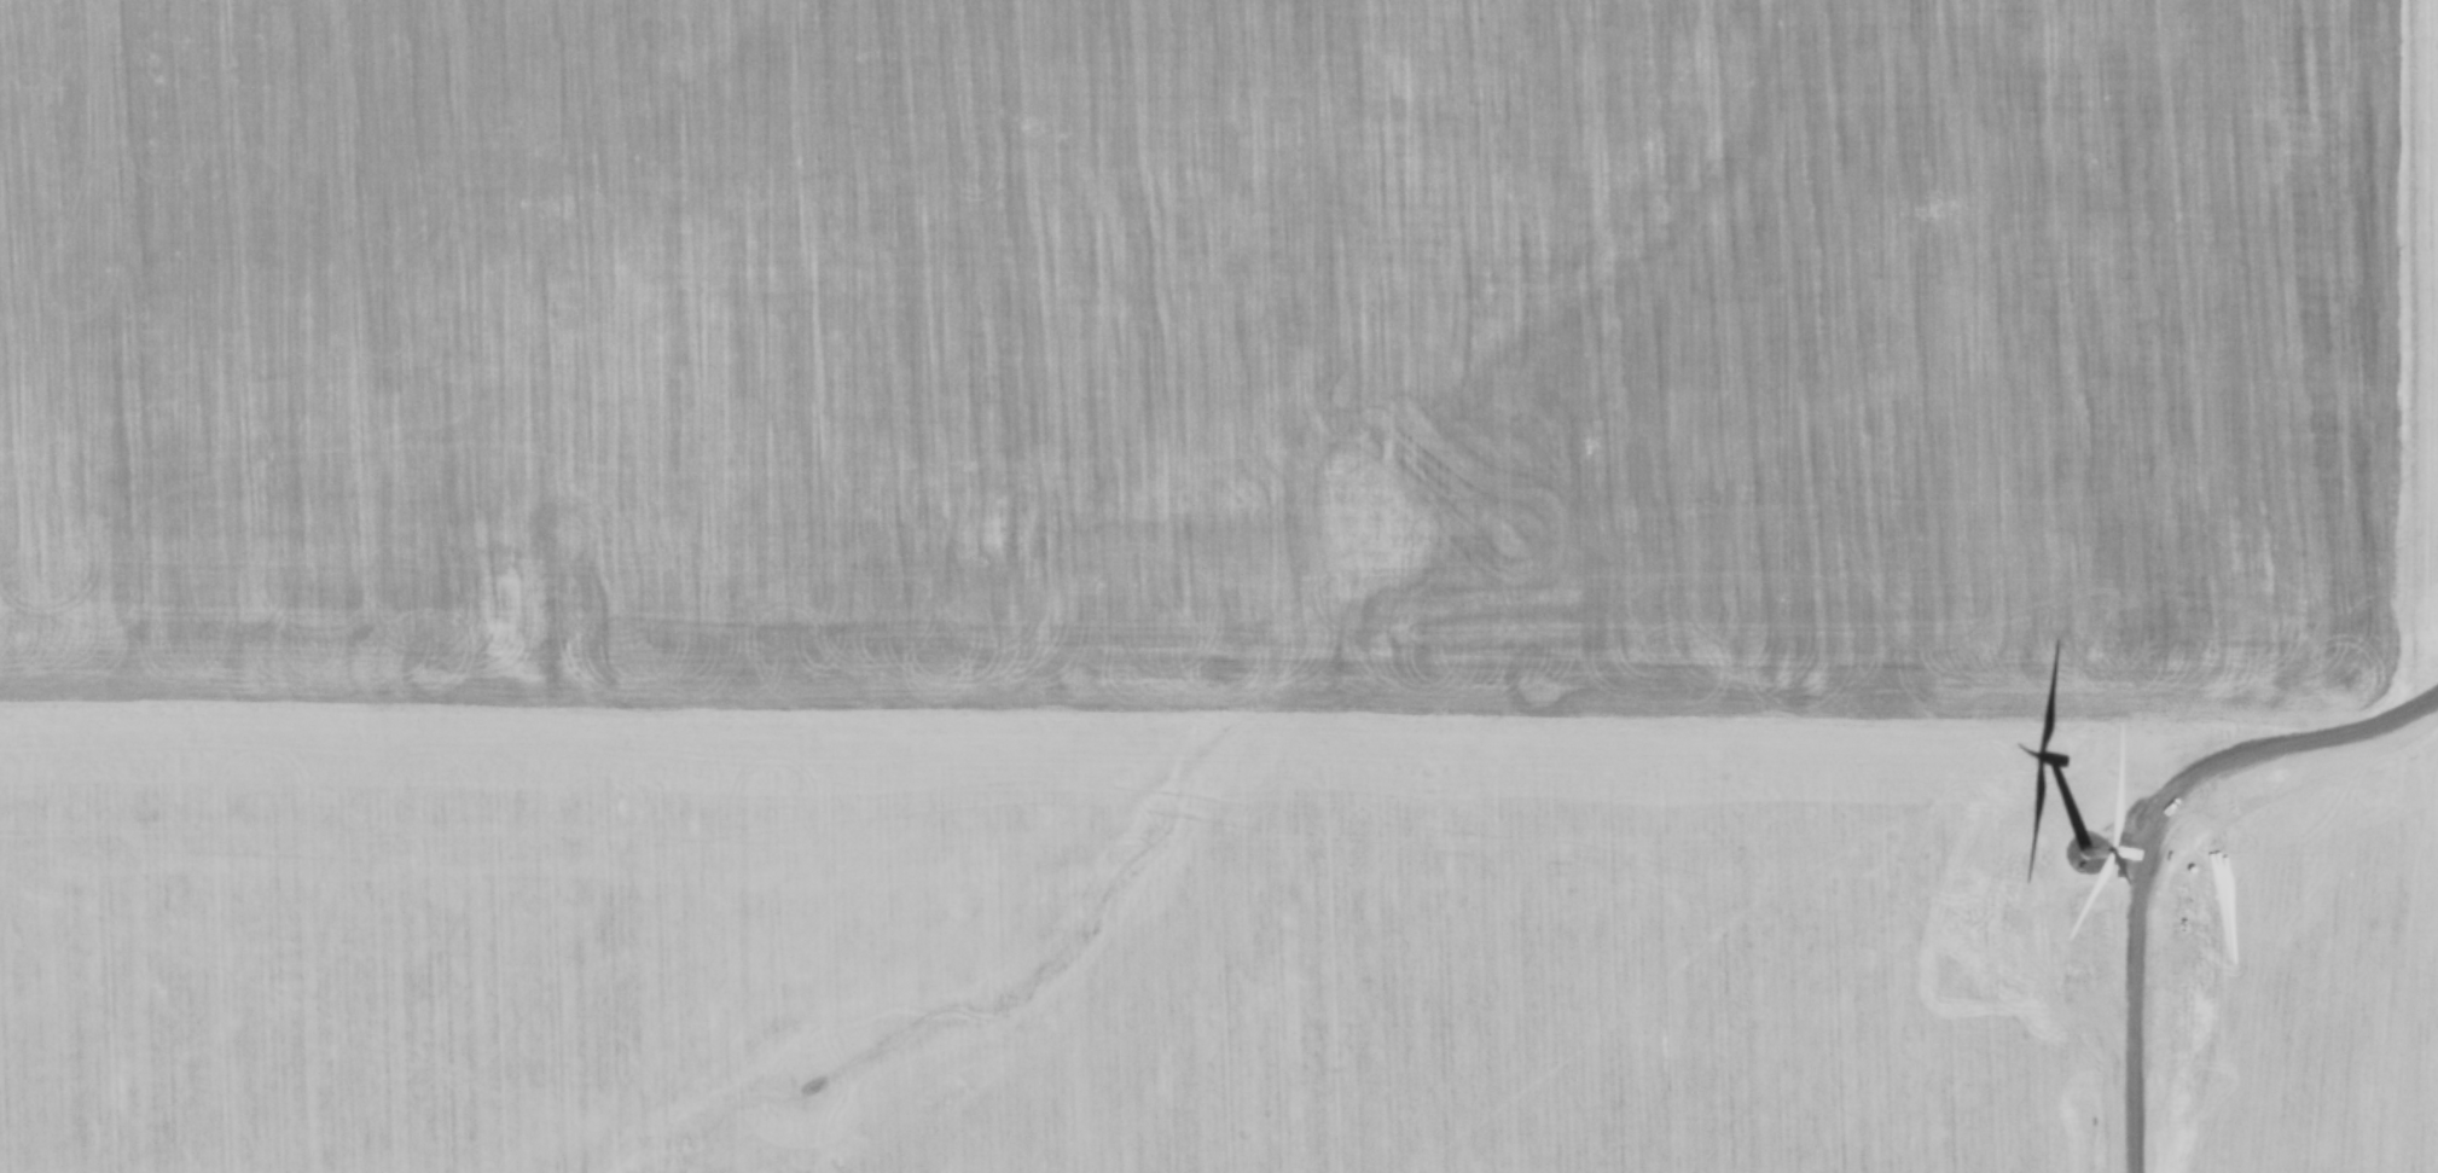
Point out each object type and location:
road: (2143, 830)
wind turbine: (2091, 853)

